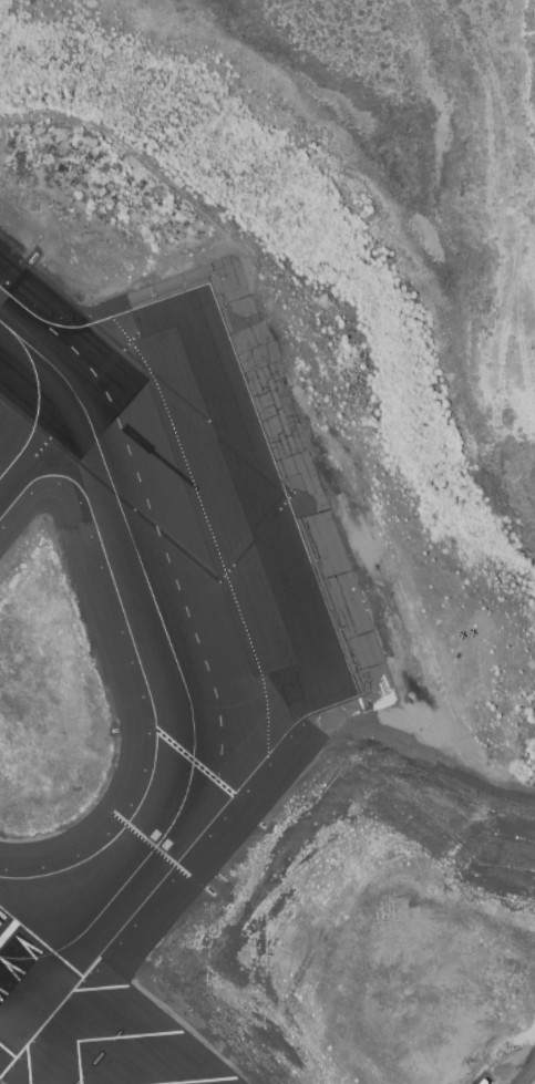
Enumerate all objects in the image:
airport taxiway: (34, 407)
airport taxiway: (115, 492)
airport: (267, 541)
airport taxiway: (141, 858)
airport runway: (23, 995)

